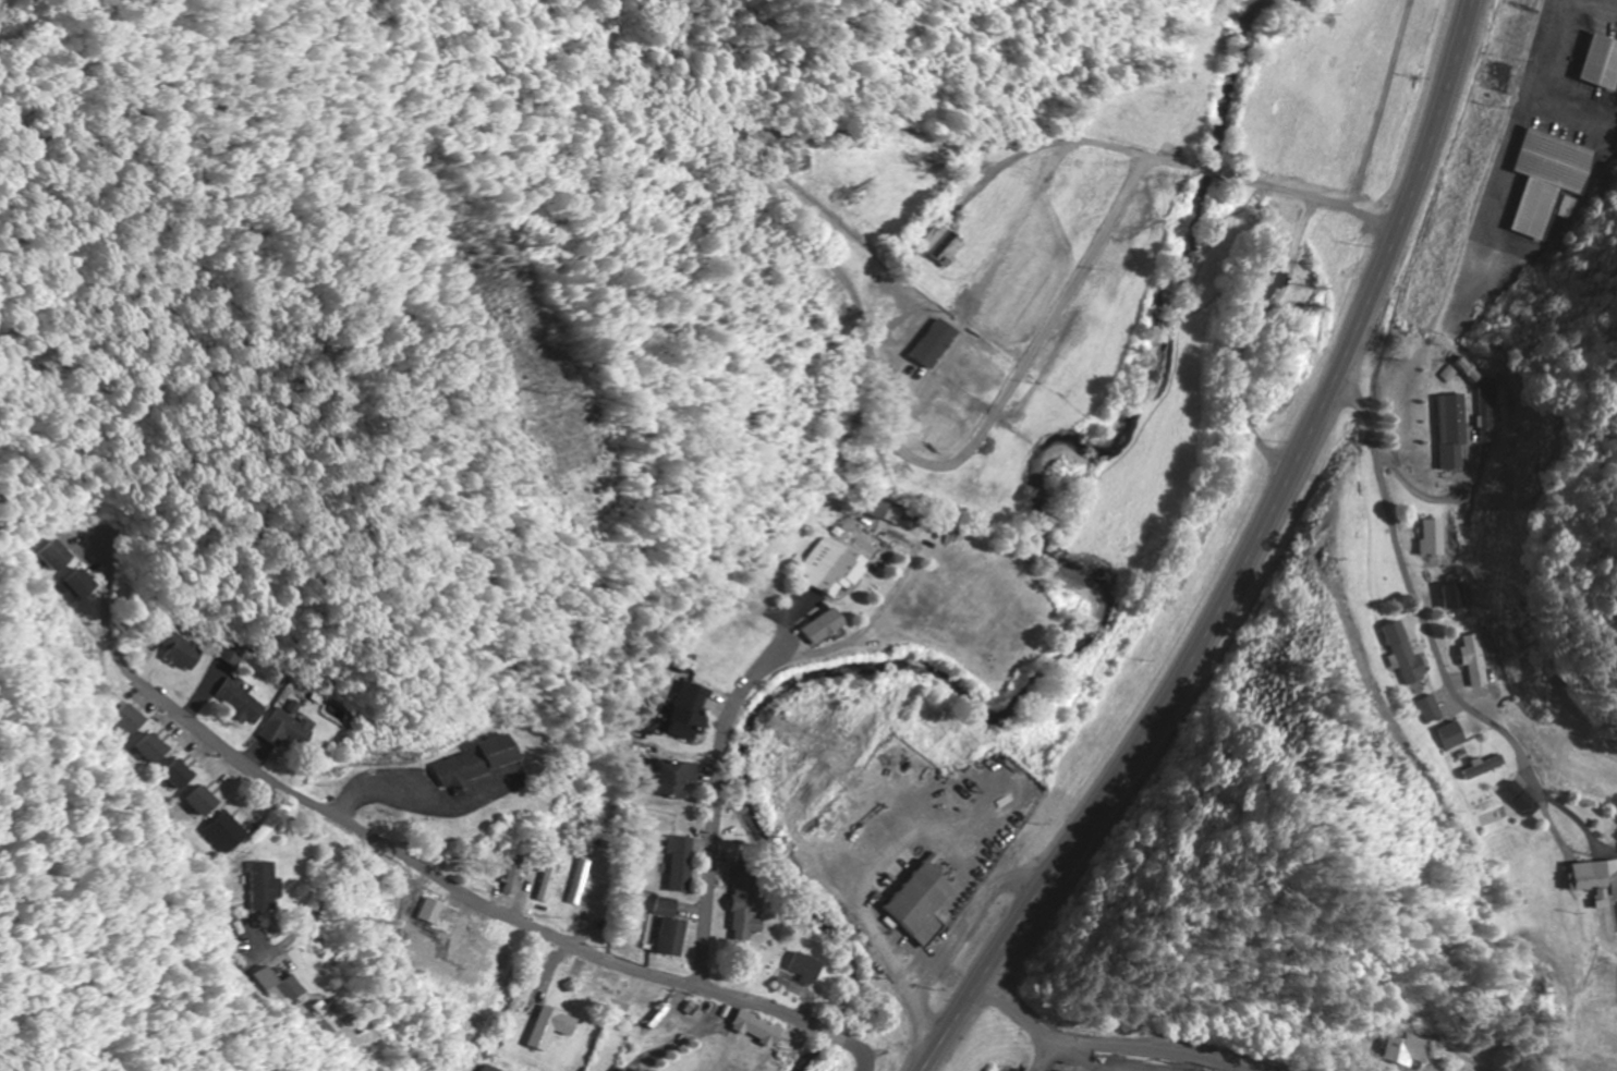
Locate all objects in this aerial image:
building: (1601, 63)
road: (1437, 110)
road: (1165, 163)
building: (1548, 179)
building: (939, 245)
building: (1263, 283)
building: (1471, 382)
building: (1455, 436)
building: (876, 511)
building: (1434, 538)
building: (57, 557)
building: (830, 569)
building: (78, 586)
building: (1455, 598)
road: (1446, 619)
building: (819, 629)
building: (180, 653)
building: (1402, 656)
road: (1191, 661)
building: (1479, 665)
building: (238, 703)
building: (1427, 710)
building: (690, 713)
building: (125, 721)
building: (284, 730)
building: (1449, 737)
building: (148, 750)
building: (483, 763)
building: (174, 776)
building: (669, 780)
road: (709, 793)
road: (291, 794)
building: (1517, 799)
building: (198, 802)
building: (222, 833)
building: (671, 865)
building: (546, 881)
building: (1594, 881)
building: (577, 888)
building: (263, 889)
building: (601, 891)
building: (738, 902)
building: (914, 904)
building: (433, 912)
building: (662, 930)
building: (241, 933)
building: (466, 953)
building: (797, 969)
building: (603, 983)
building: (293, 990)
road: (751, 1008)
building: (330, 1020)
building: (544, 1030)
building: (749, 1031)
road: (1107, 1047)
building: (1408, 1051)
road: (1531, 1058)
building: (487, 1069)
building: (621, 1070)

